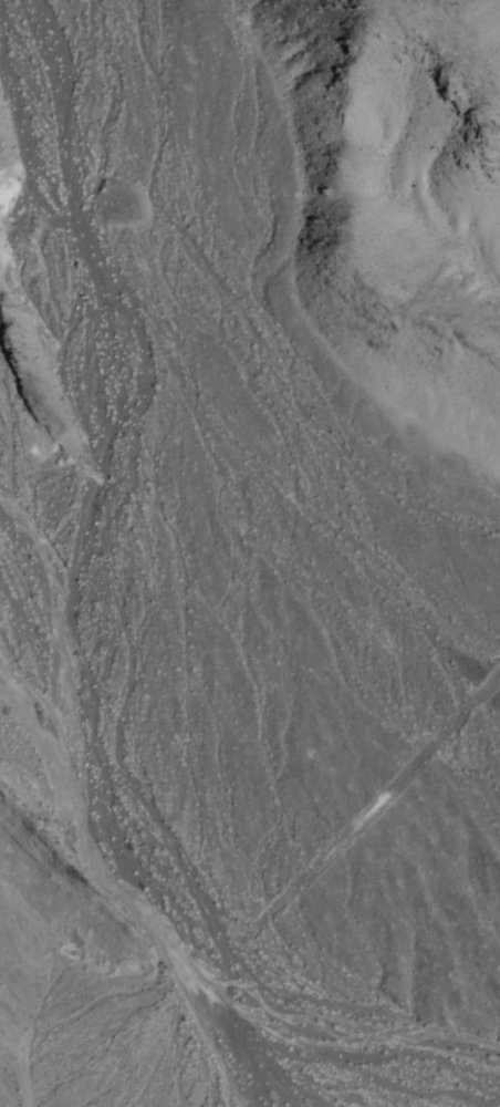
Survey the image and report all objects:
road: (319, 872)
road: (149, 981)

